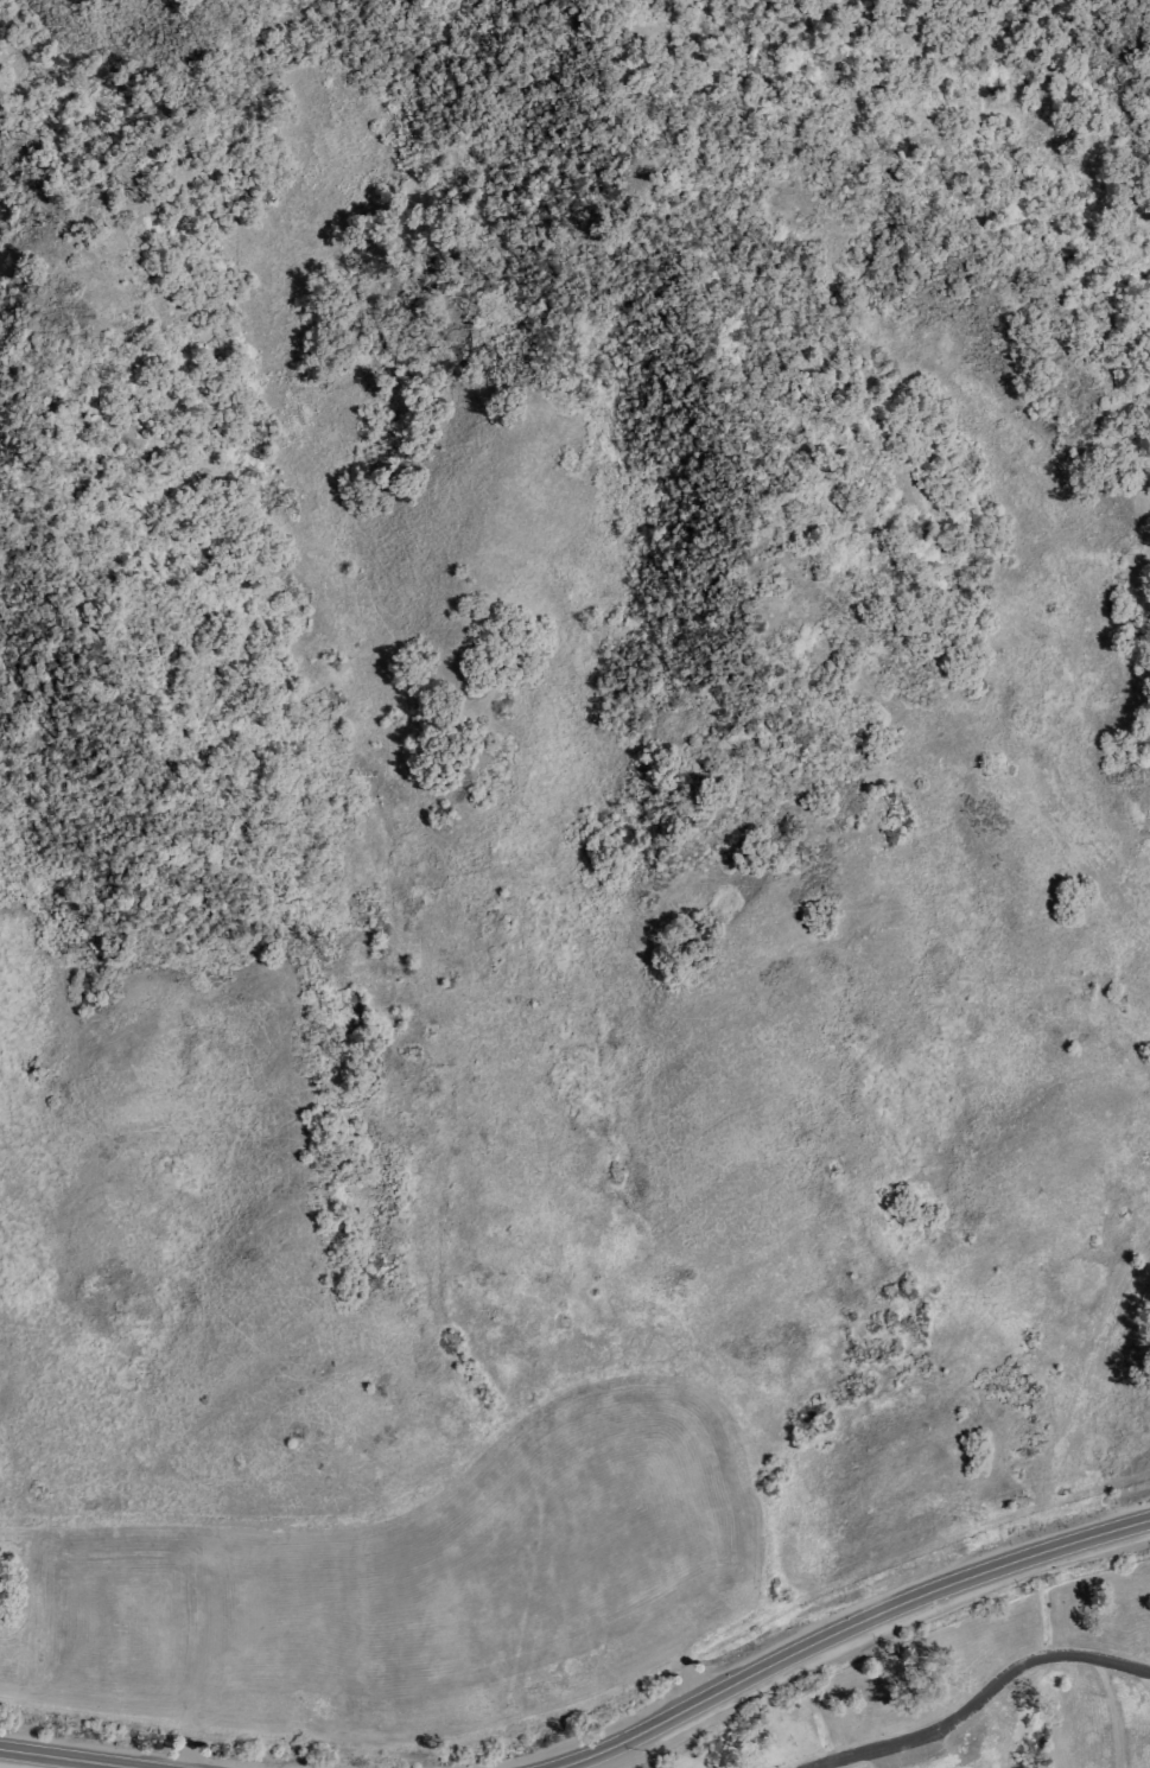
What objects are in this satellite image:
road: (849, 1630)
park: (951, 1680)
road: (984, 1702)
road: (68, 1759)
park: (45, 1761)

